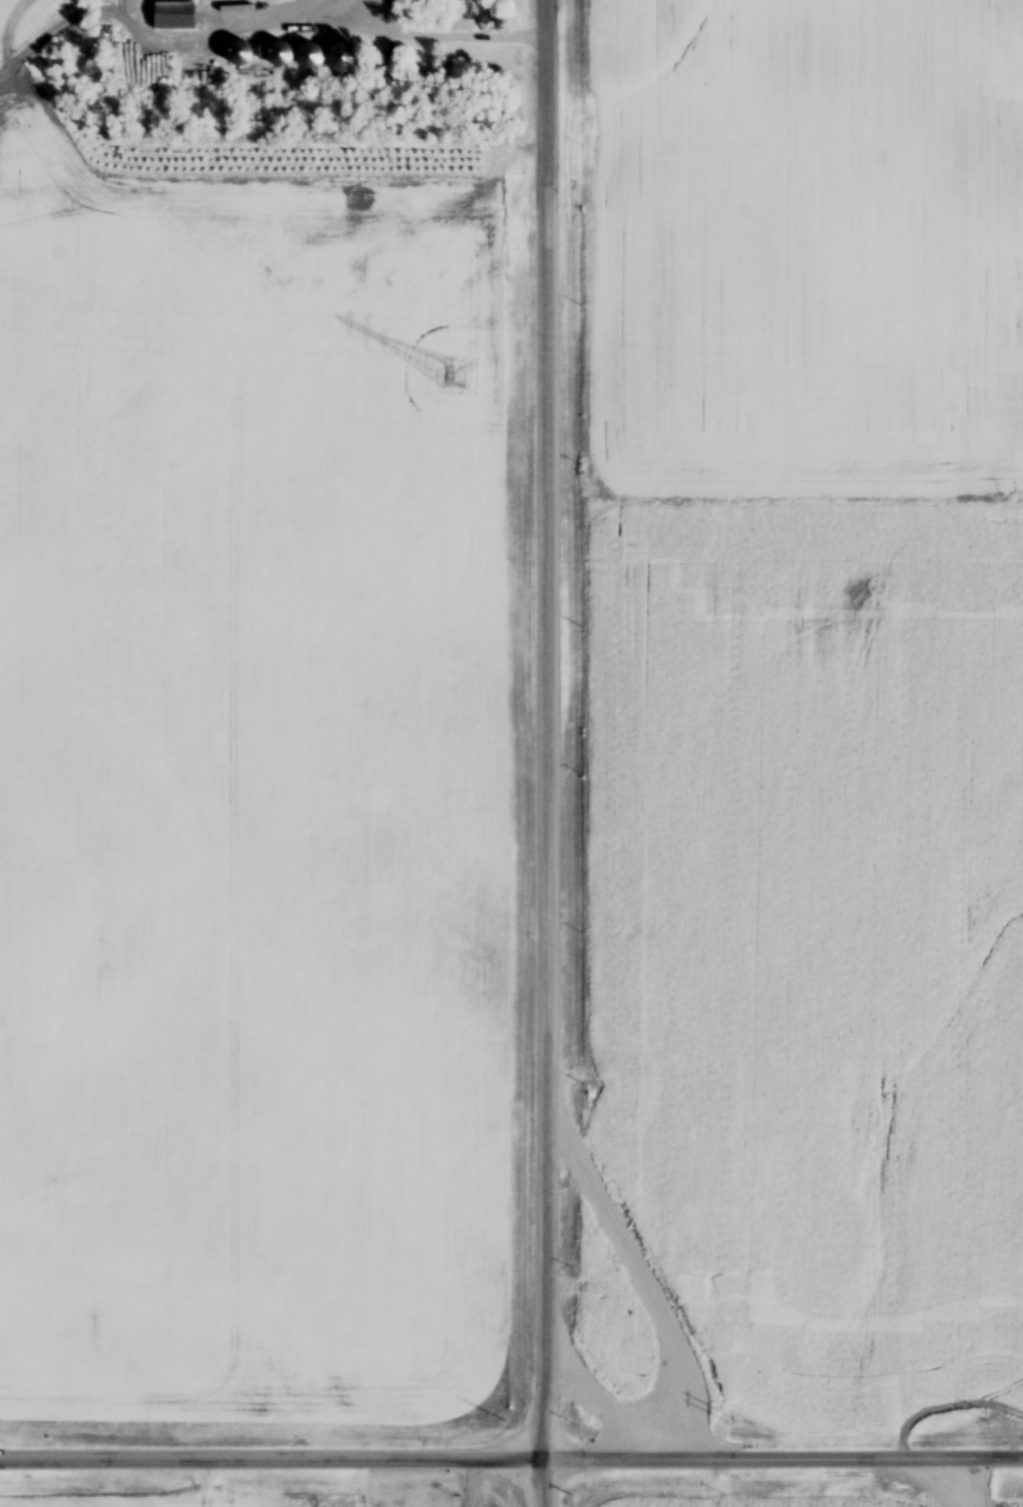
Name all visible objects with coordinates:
building: (460, 9)
building: (176, 17)
road: (448, 32)
building: (346, 53)
building: (281, 55)
building: (310, 56)
power tower: (455, 374)
road: (546, 726)
road: (784, 1452)
road: (273, 1454)
road: (546, 1480)

